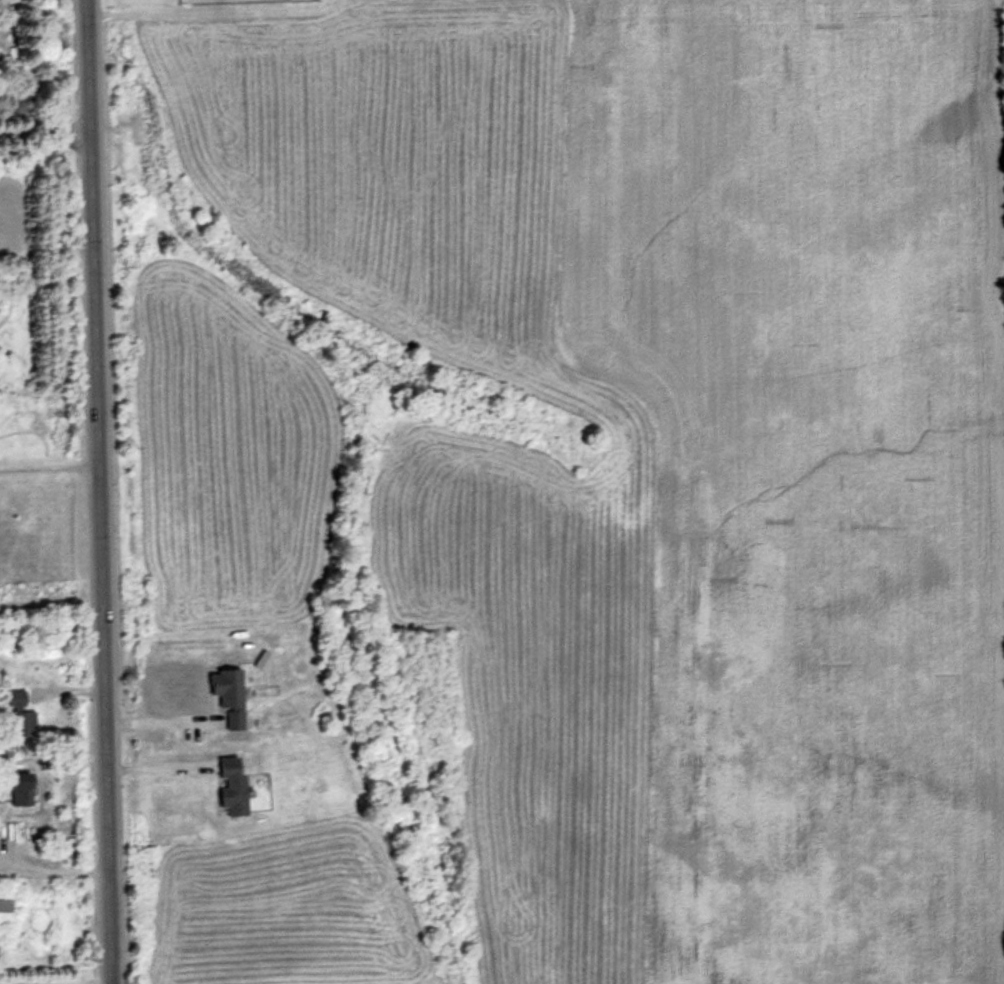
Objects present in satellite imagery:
road: (45, 126)
road: (50, 467)
road: (100, 491)
building: (231, 693)
building: (21, 713)
building: (235, 783)
building: (23, 786)

